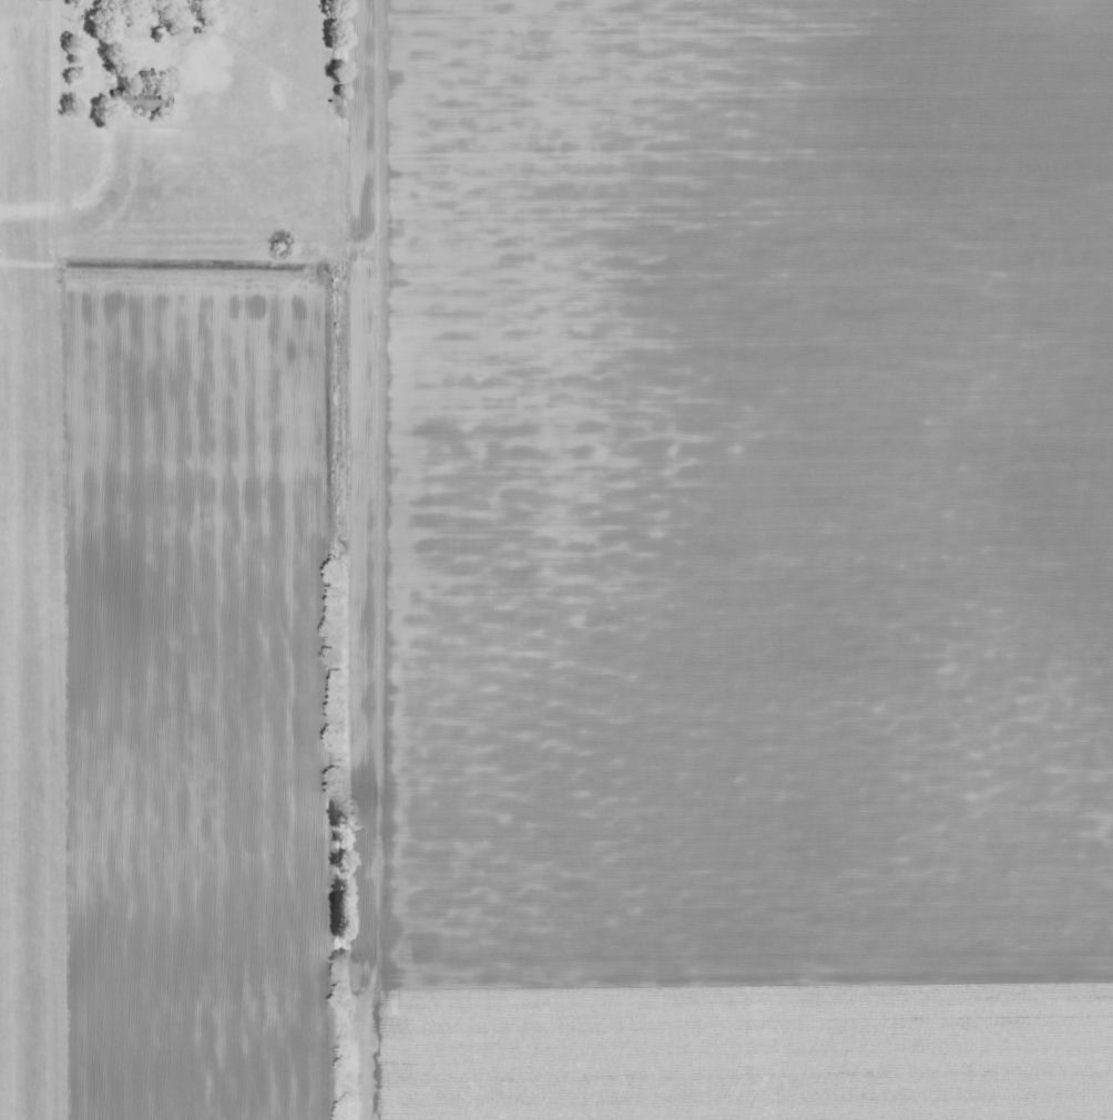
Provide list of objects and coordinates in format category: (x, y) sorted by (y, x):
building: (140, 99)
road: (334, 863)

